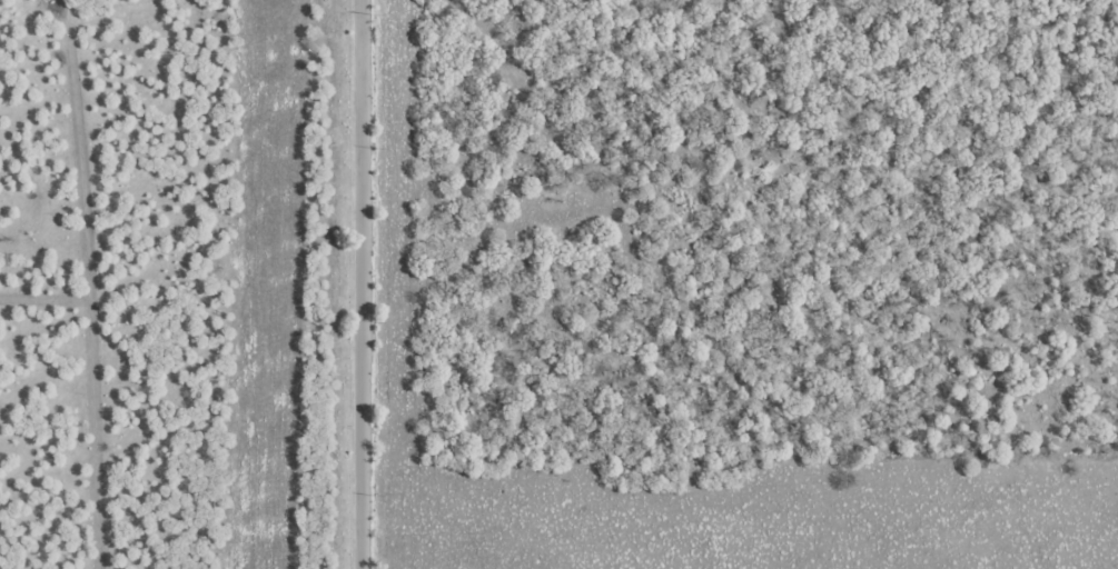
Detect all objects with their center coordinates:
road: (357, 284)

